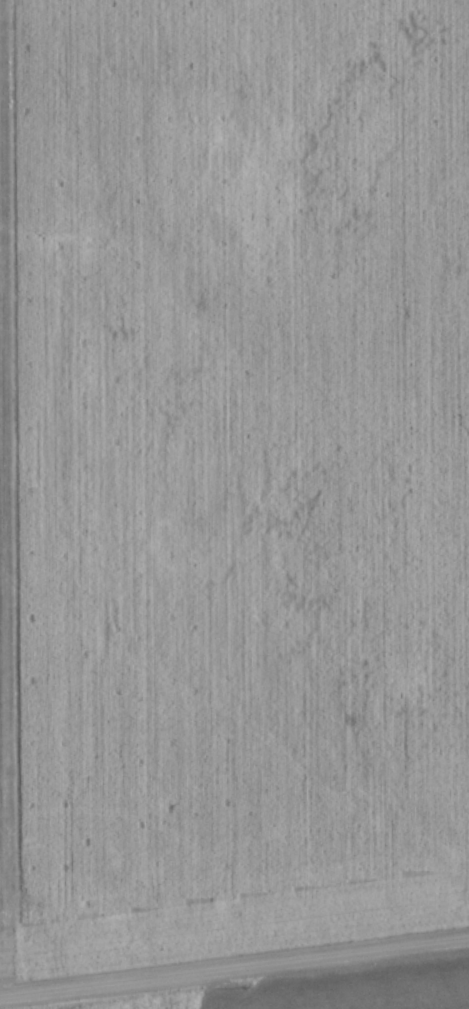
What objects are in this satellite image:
road: (234, 968)

